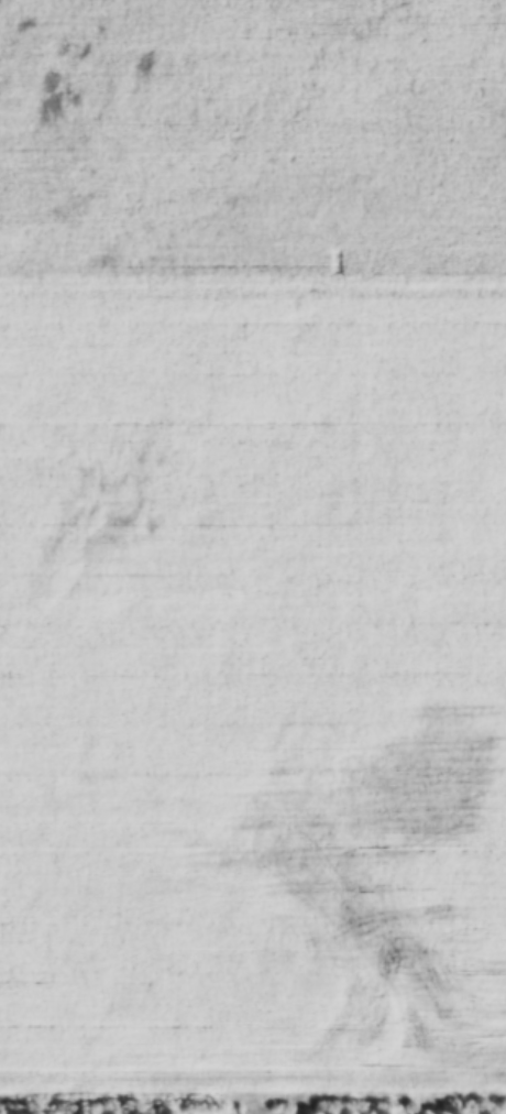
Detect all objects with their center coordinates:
road: (252, 1108)

